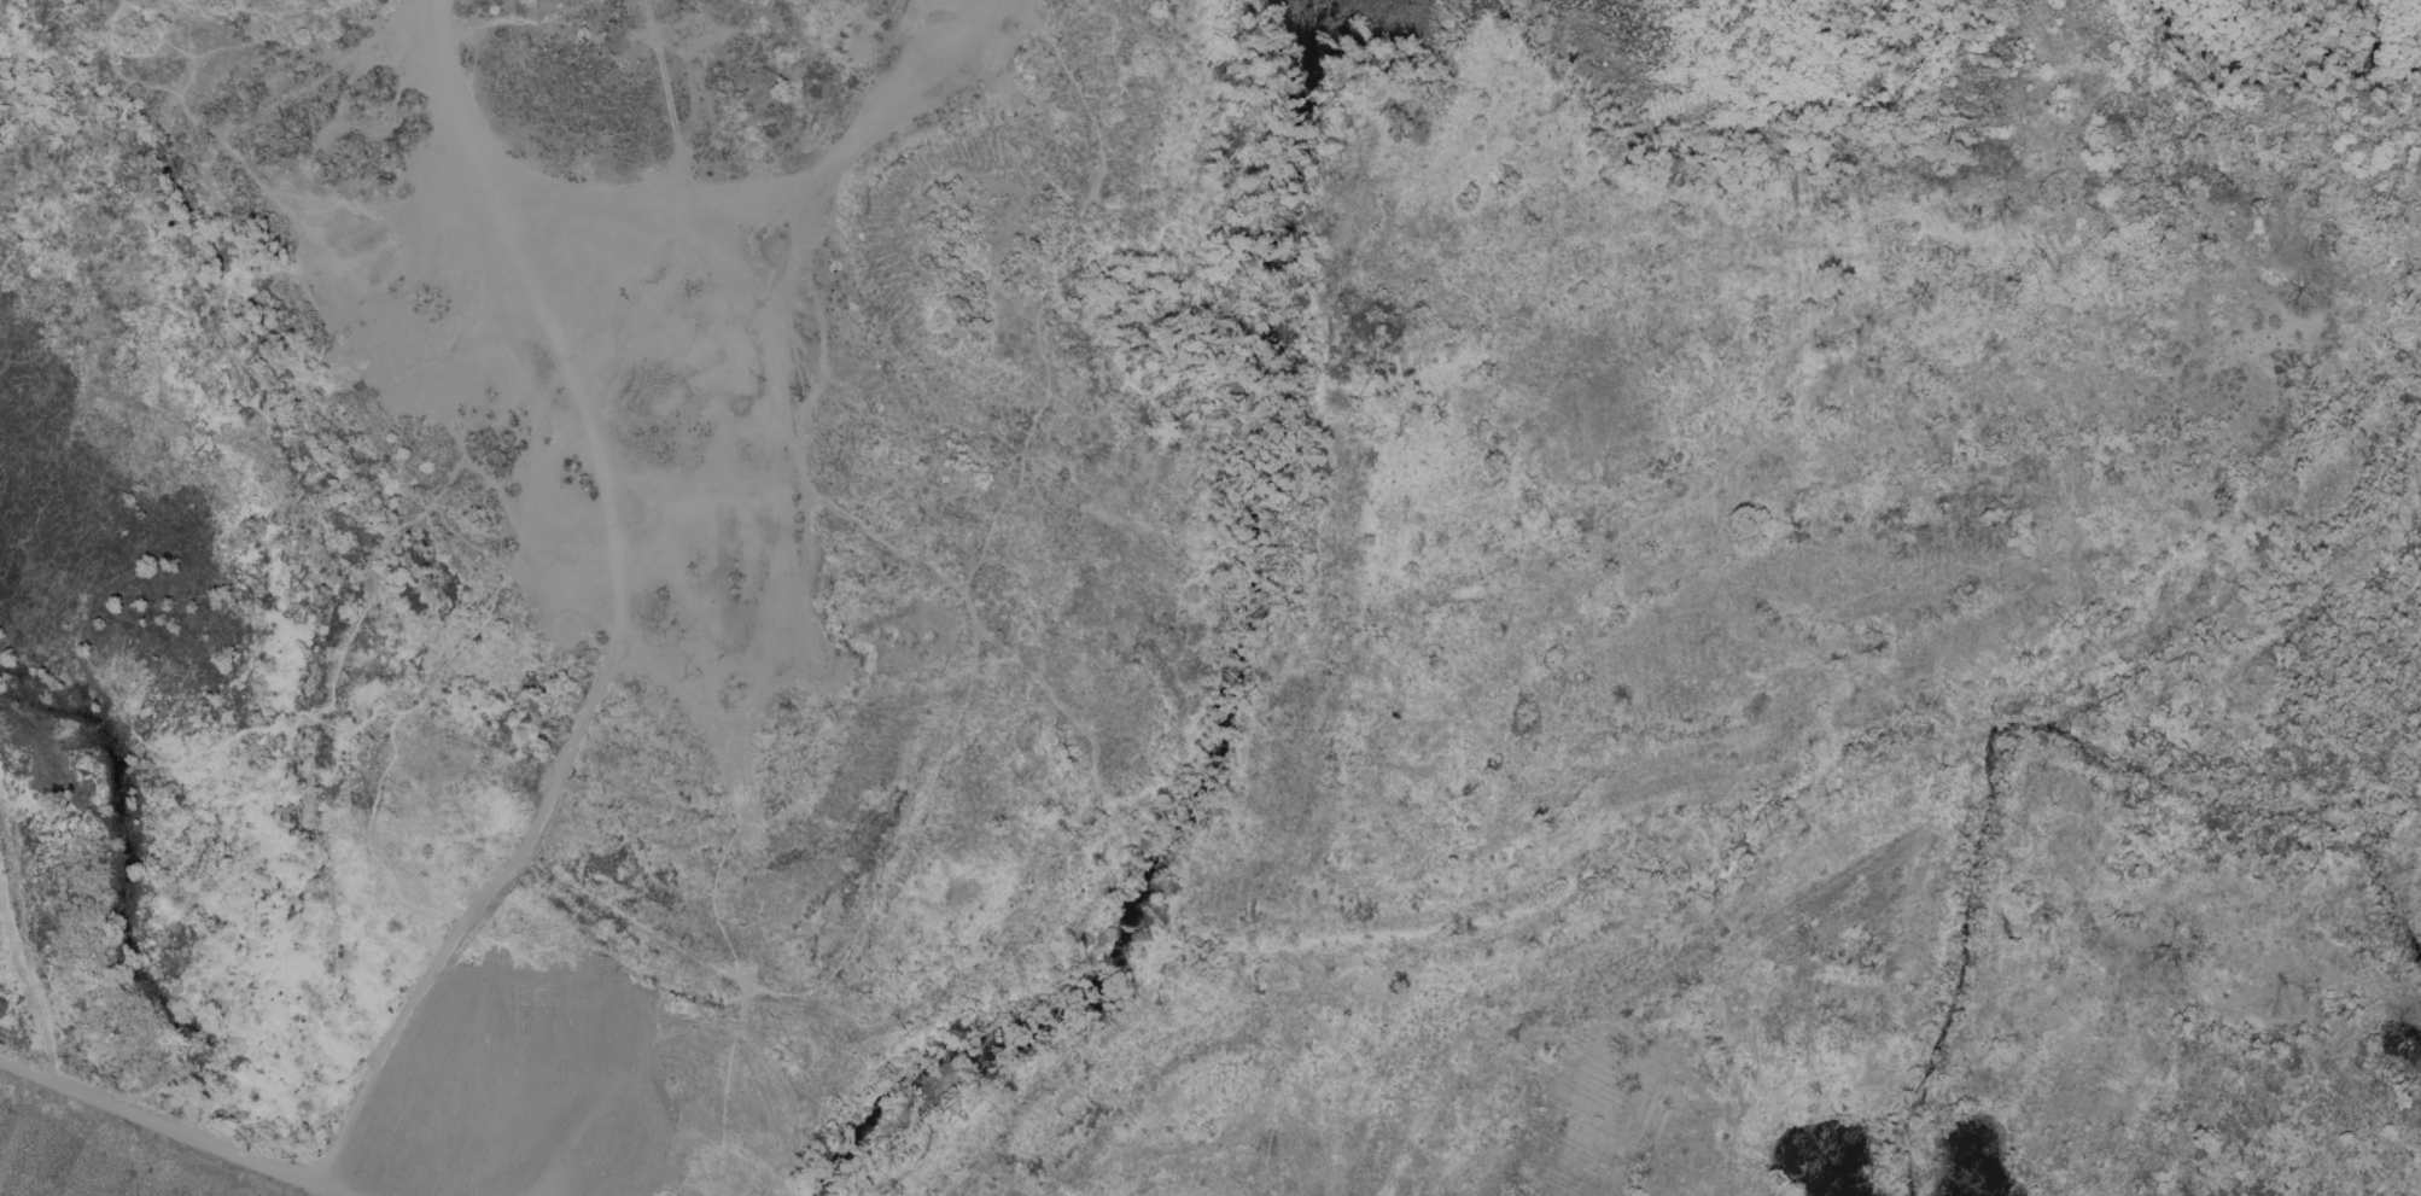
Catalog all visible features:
river: (2277, 43)
road: (618, 612)
river: (1197, 702)
dam: (310, 1074)
road: (180, 1132)
park: (91, 1166)
park: (91, 1166)

